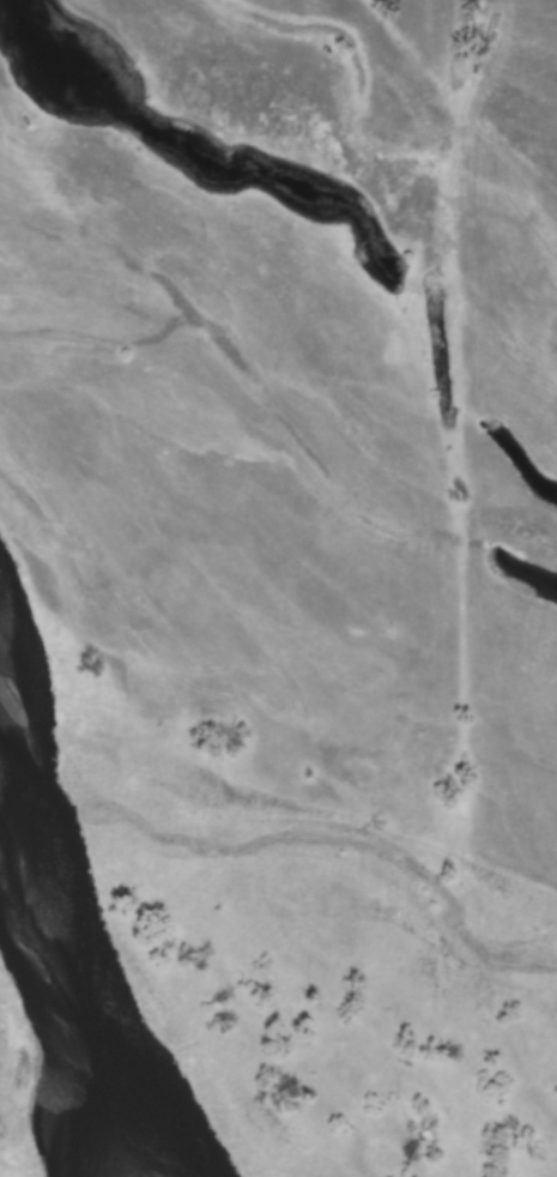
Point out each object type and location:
river: (66, 1013)

